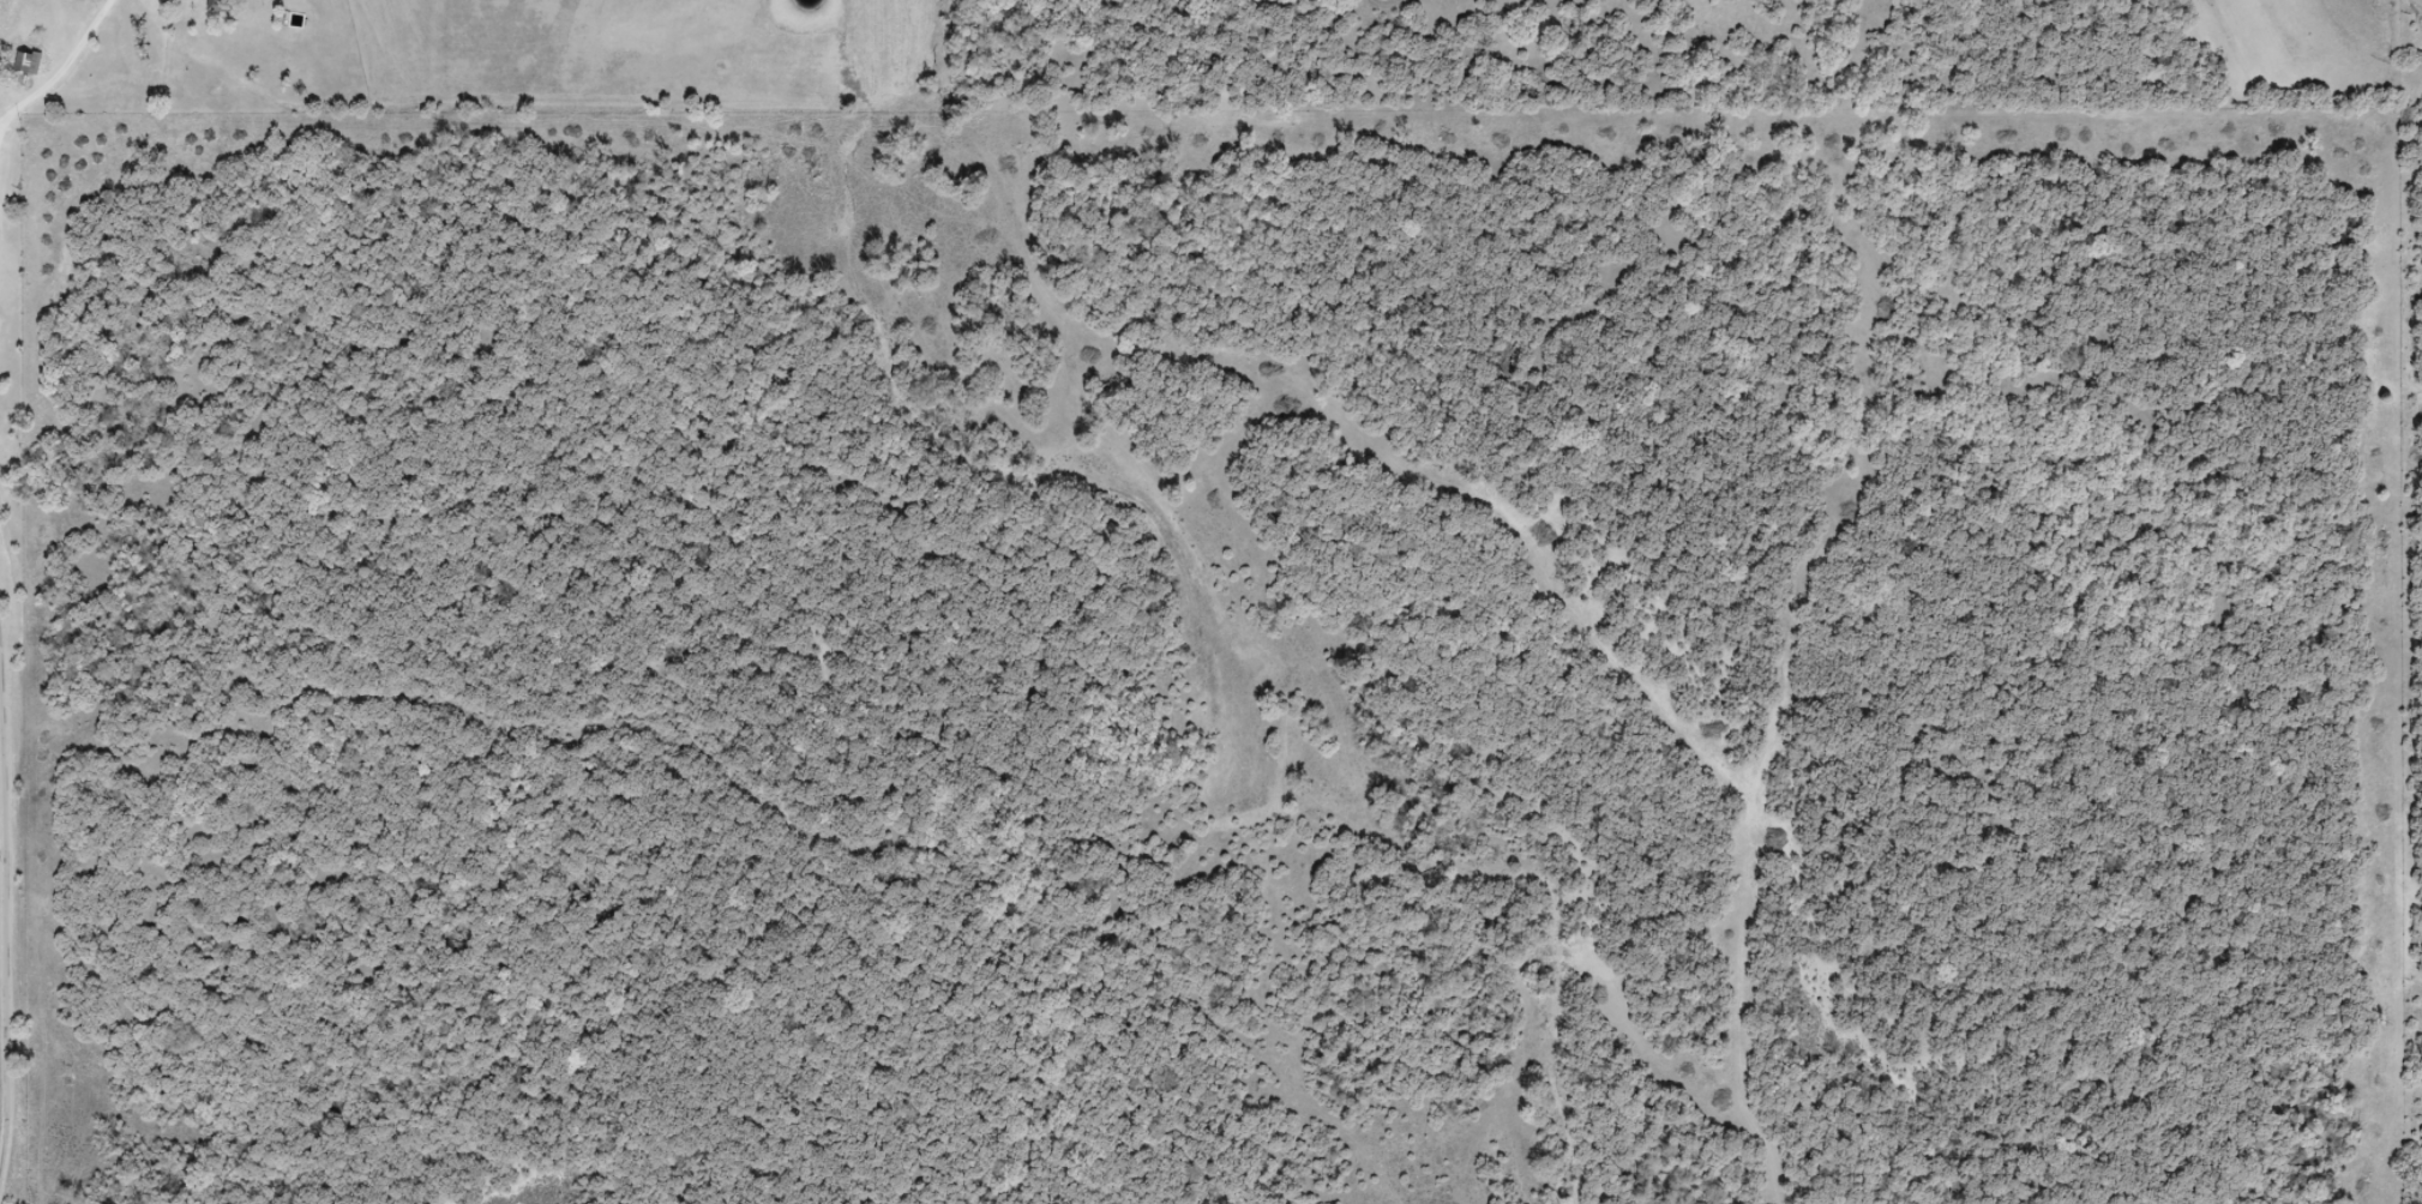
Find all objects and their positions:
building: (217, 6)
road: (851, 16)
building: (26, 64)
road: (483, 65)
road: (60, 67)
road: (5, 871)

